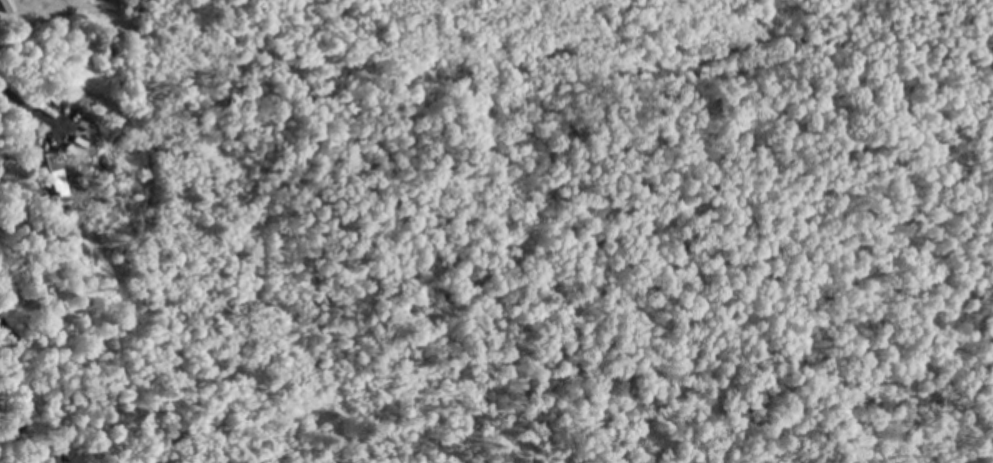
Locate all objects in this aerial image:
building: (6, 5)
road: (25, 108)
building: (46, 171)

